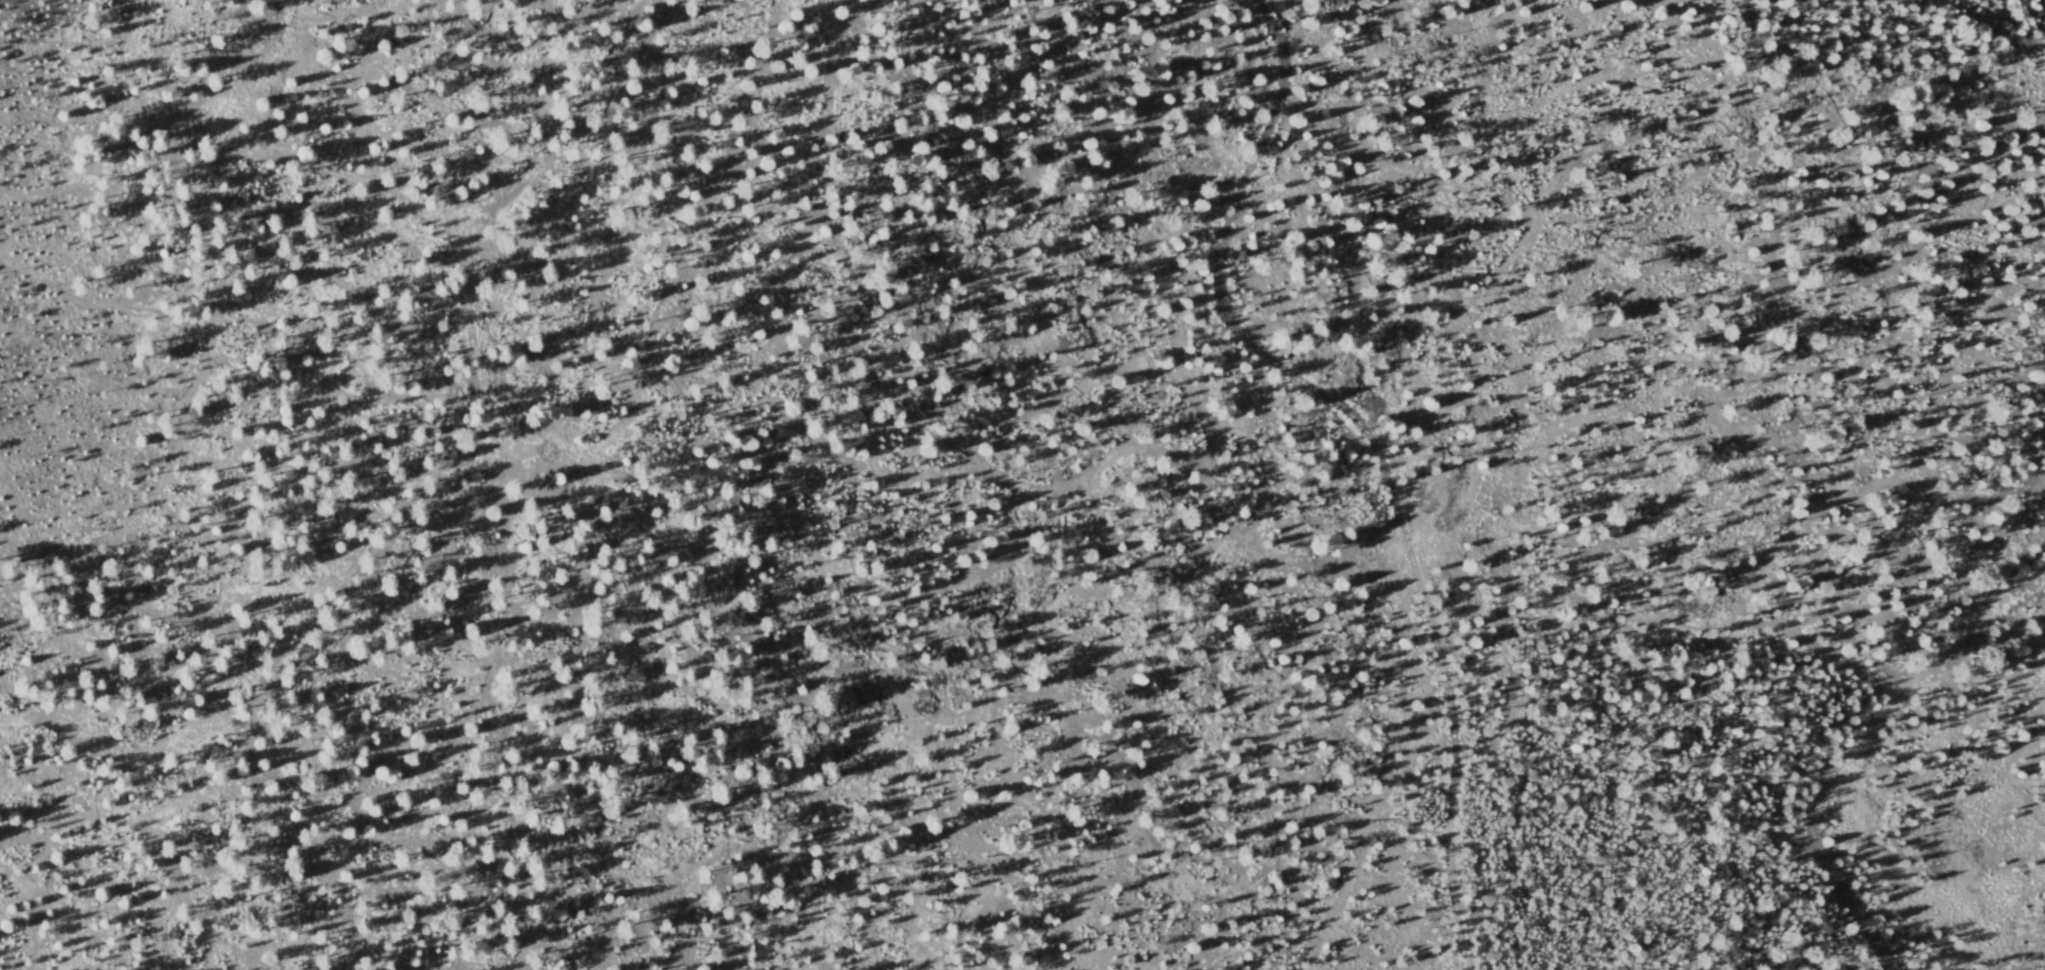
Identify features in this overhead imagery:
road: (1369, 452)
road: (1941, 717)

